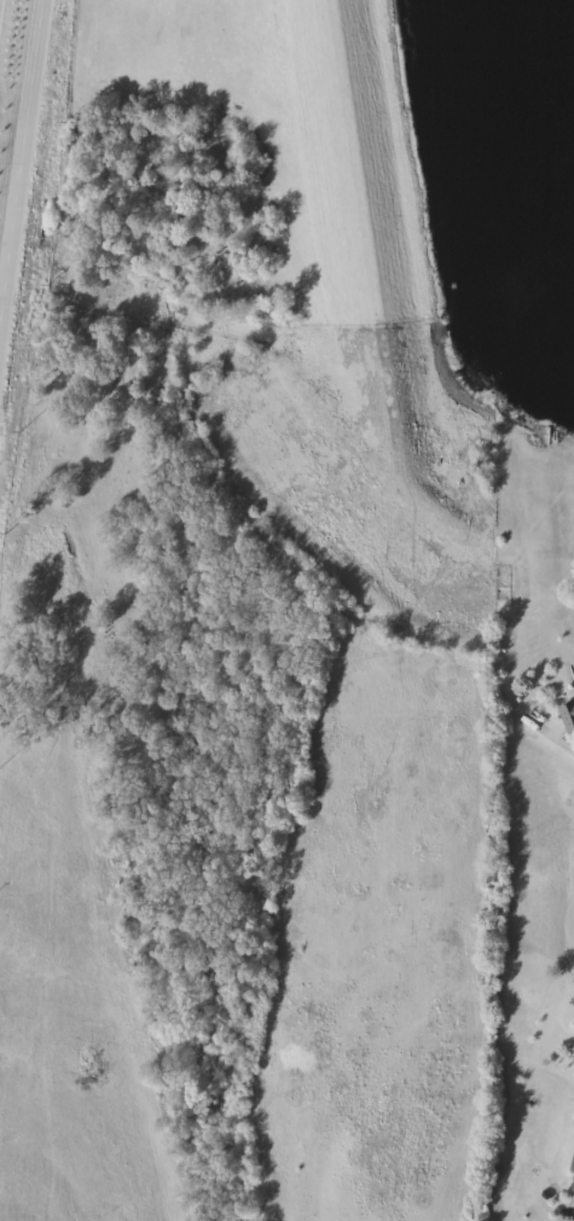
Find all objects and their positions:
road: (18, 140)
building: (568, 716)
building: (572, 1182)

